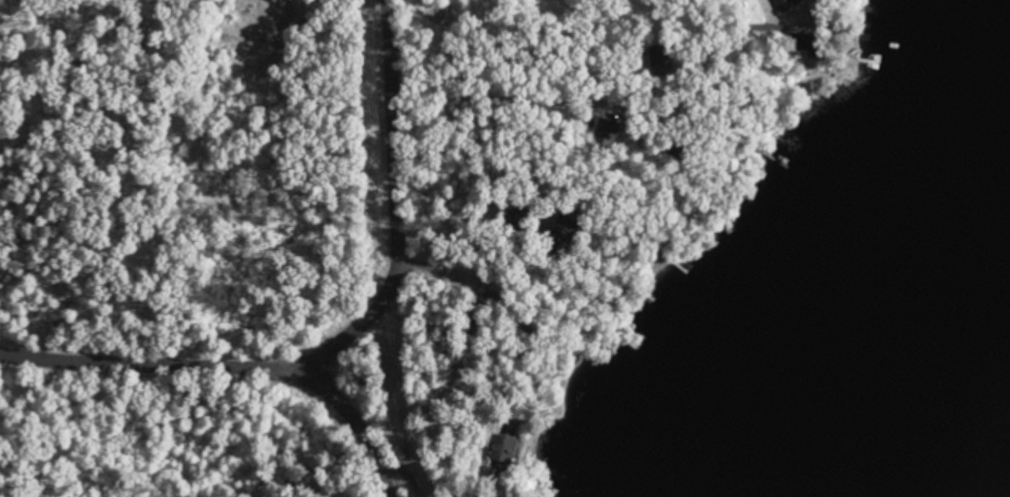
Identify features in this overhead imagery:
road: (374, 208)
road: (198, 355)
road: (369, 369)
road: (364, 472)

